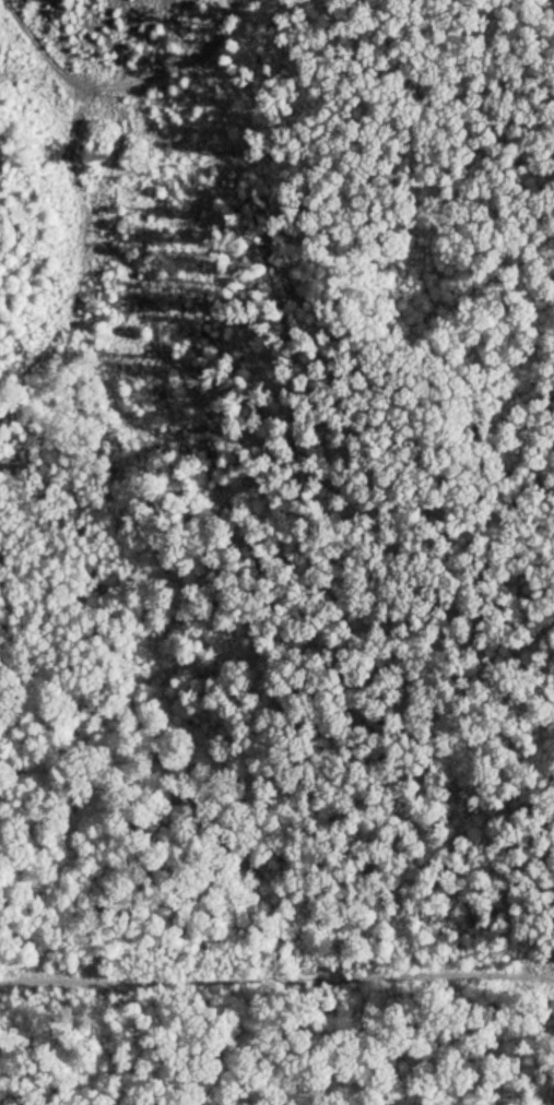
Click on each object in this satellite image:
road: (276, 979)

